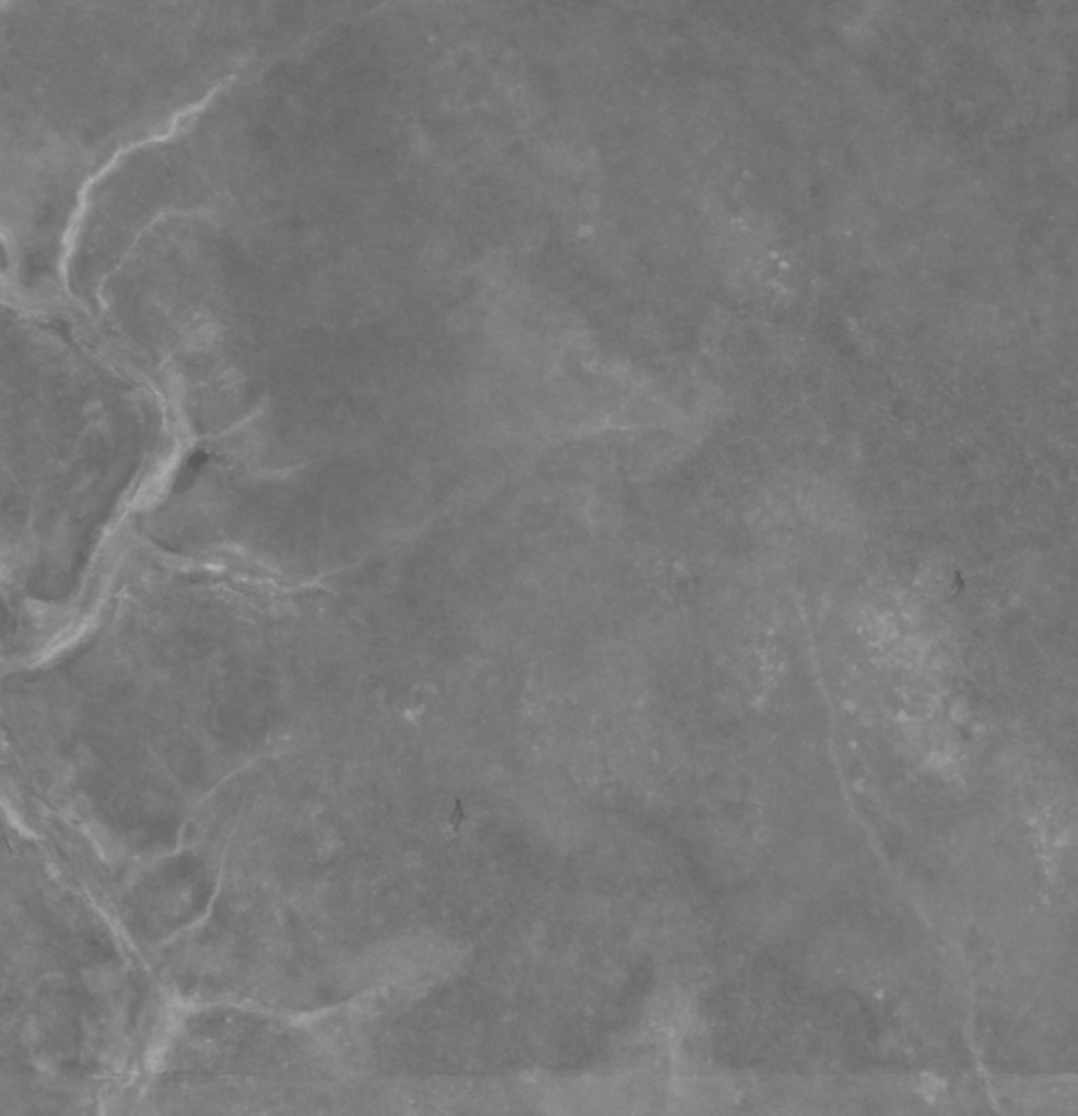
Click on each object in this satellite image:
power tower: (950, 596)
power tower: (443, 831)

